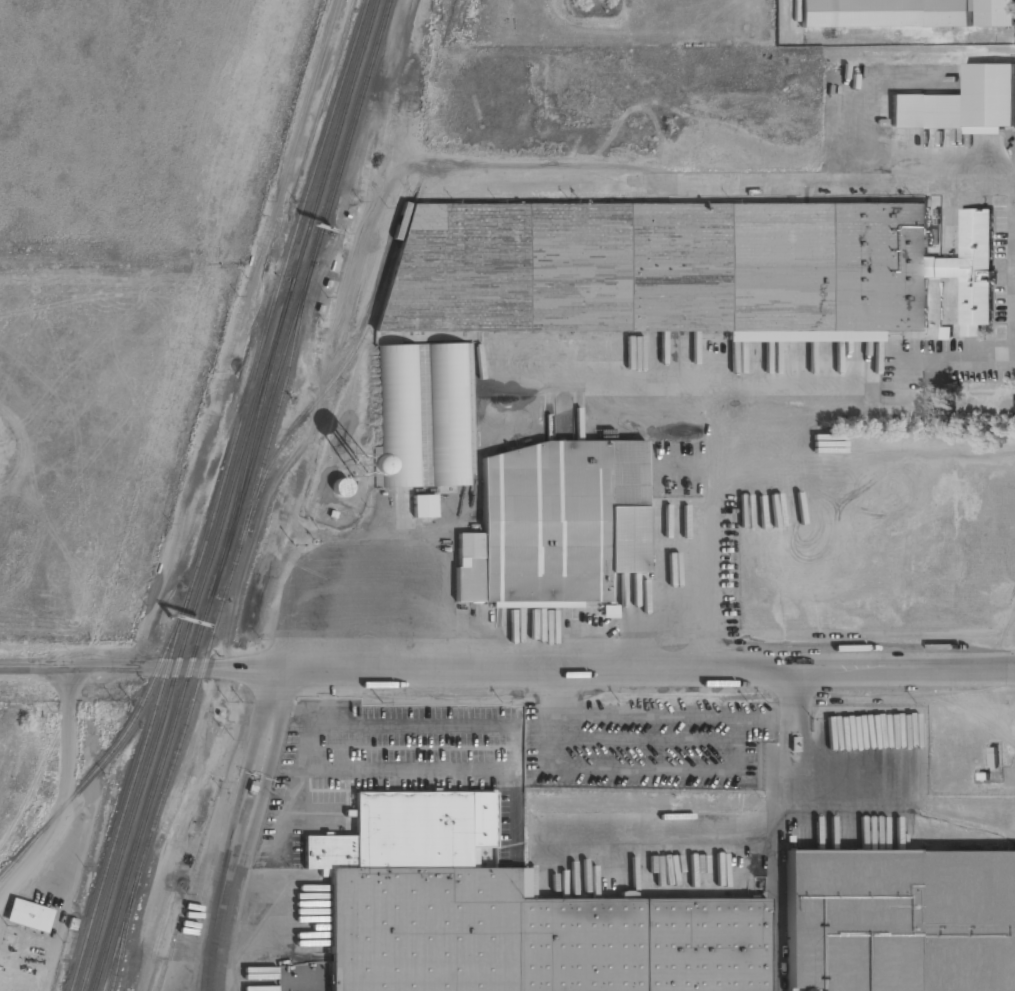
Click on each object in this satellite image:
building: (905, 13)
building: (961, 102)
building: (682, 269)
railway: (342, 369)
building: (423, 415)
building: (358, 465)
railway: (218, 495)
railway: (228, 495)
railway: (241, 495)
building: (423, 506)
building: (553, 523)
railway: (211, 638)
road: (507, 669)
railway: (113, 749)
road: (240, 829)
building: (29, 915)
railway: (122, 941)

